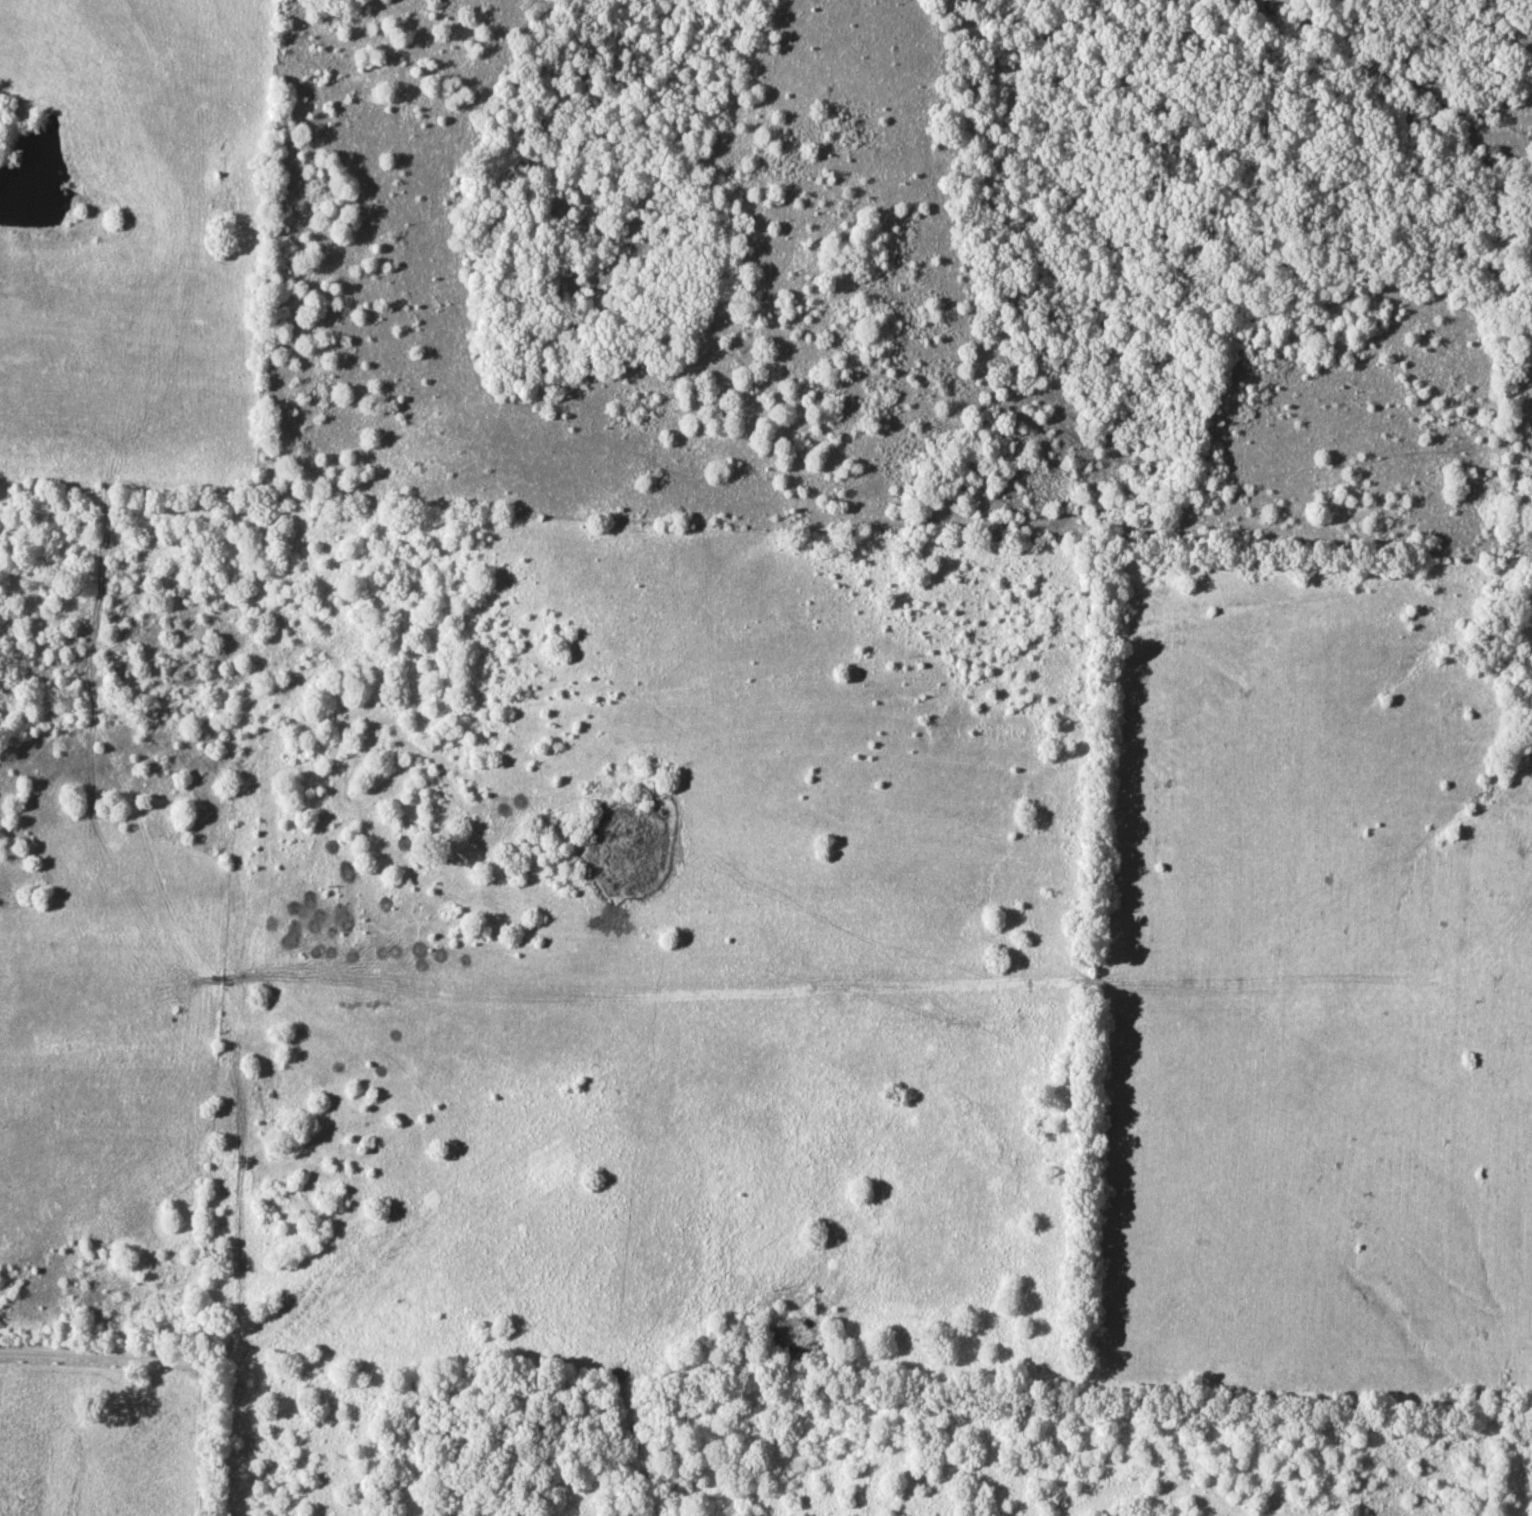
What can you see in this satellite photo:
road: (99, 1362)
road: (203, 1442)

